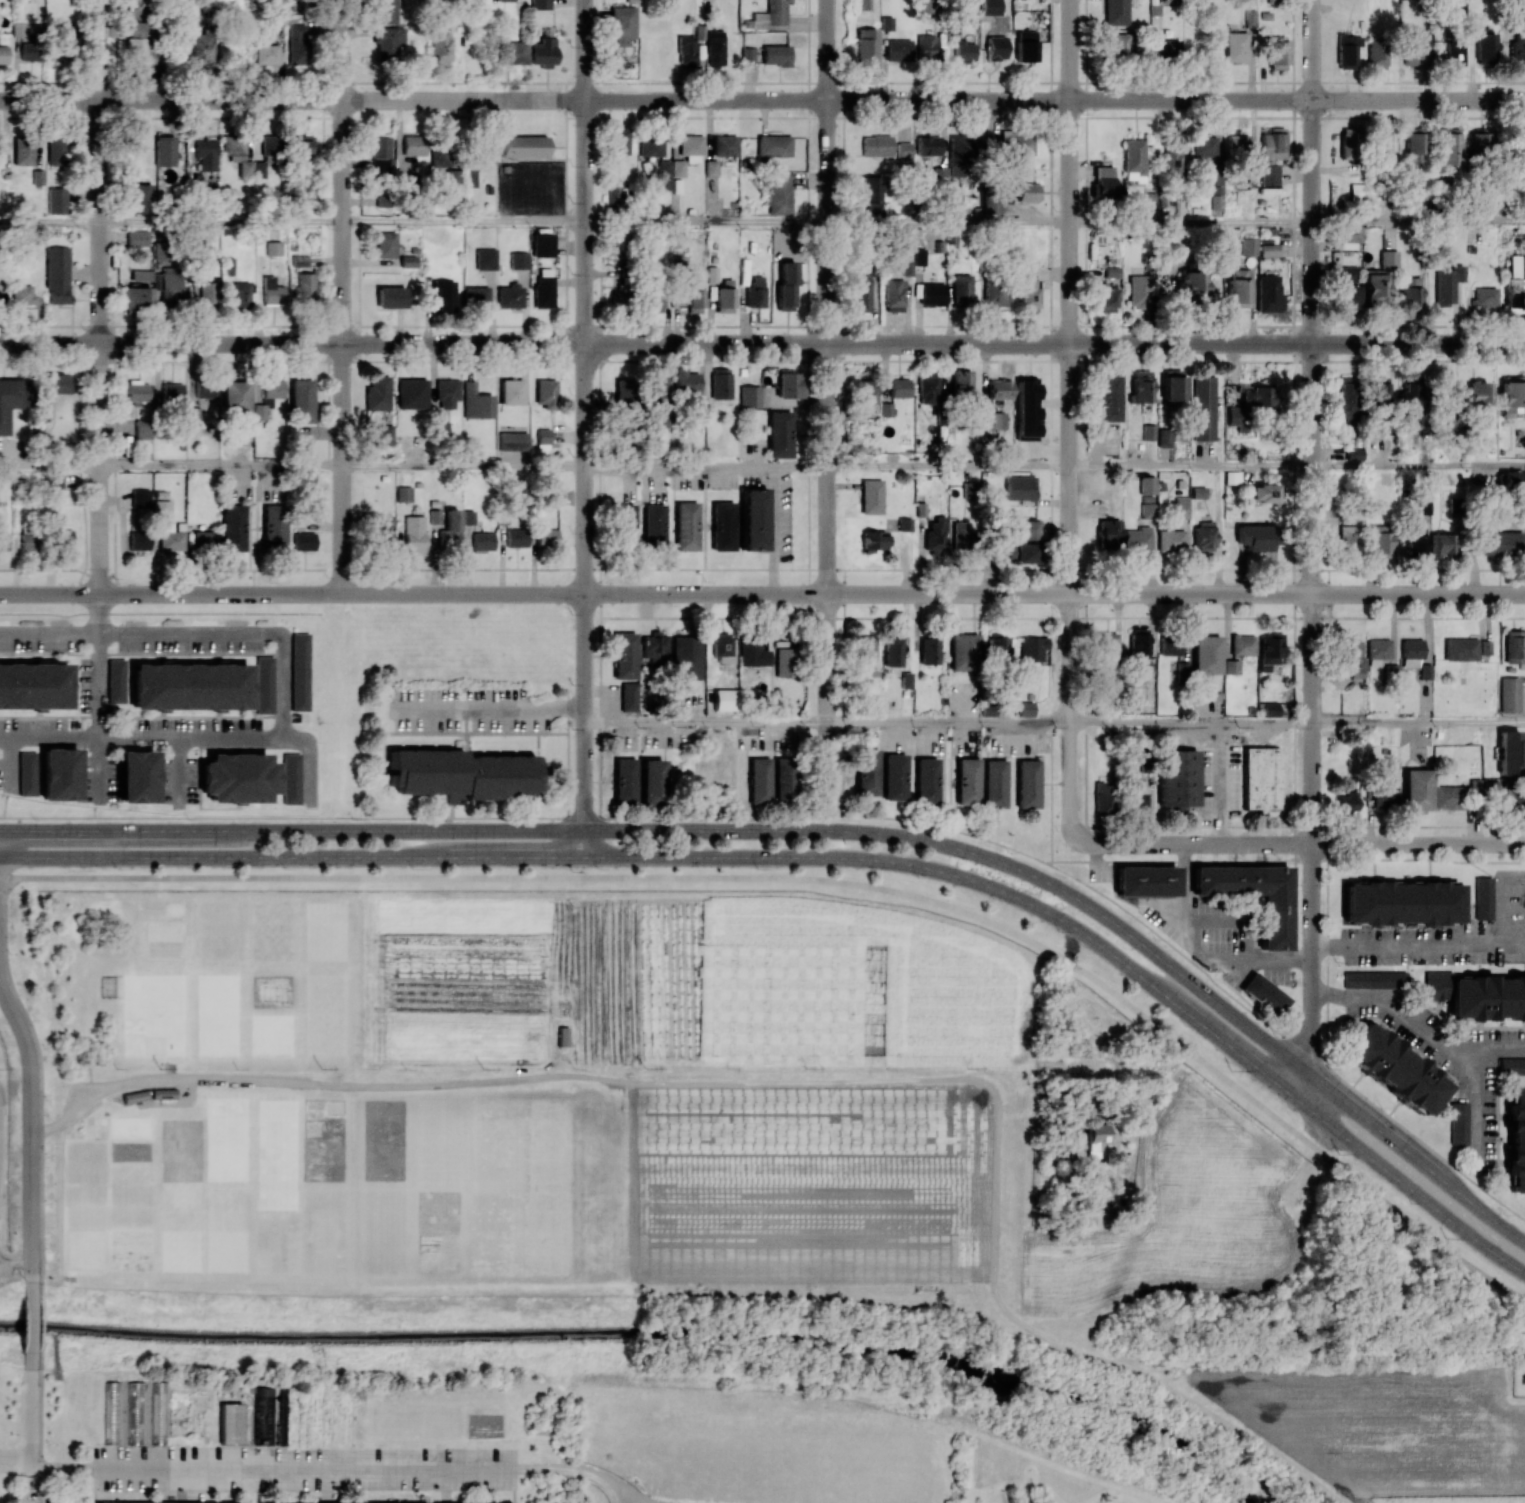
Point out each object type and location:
building: (505, 0)
building: (540, 4)
building: (926, 6)
building: (387, 11)
building: (1116, 12)
building: (768, 16)
building: (1250, 18)
building: (622, 24)
building: (59, 32)
building: (698, 32)
building: (388, 37)
building: (138, 44)
building: (297, 44)
building: (1025, 45)
building: (1117, 45)
building: (865, 46)
building: (1235, 46)
building: (440, 47)
building: (1485, 47)
building: (202, 48)
building: (714, 48)
building: (925, 48)
building: (1517, 48)
road: (98, 49)
road: (116, 49)
road: (323, 49)
road: (344, 49)
building: (995, 49)
building: (1165, 49)
building: (1347, 49)
building: (29, 50)
road: (587, 50)
building: (686, 50)
road: (826, 50)
building: (898, 50)
building: (964, 50)
building: (513, 51)
building: (61, 52)
building: (543, 52)
building: (1277, 52)
building: (1454, 52)
building: (266, 53)
building: (1376, 53)
building: (1417, 53)
building: (3, 54)
building: (747, 54)
building: (775, 54)
road: (762, 82)
road: (172, 99)
road: (828, 100)
road: (1419, 100)
road: (1045, 117)
building: (620, 140)
building: (1479, 140)
building: (1347, 143)
building: (413, 144)
building: (1009, 144)
building: (1237, 144)
building: (1380, 144)
building: (1414, 144)
building: (724, 145)
building: (773, 145)
building: (876, 145)
building: (928, 145)
building: (523, 146)
building: (650, 146)
building: (1203, 146)
building: (1449, 146)
building: (302, 147)
building: (691, 148)
building: (23, 150)
building: (56, 150)
building: (164, 150)
building: (903, 150)
building: (237, 153)
building: (485, 153)
building: (1517, 153)
building: (206, 154)
building: (381, 155)
building: (959, 155)
building: (1270, 155)
building: (440, 156)
building: (1133, 160)
building: (1171, 162)
building: (677, 168)
building: (939, 174)
building: (663, 175)
building: (37, 176)
building: (452, 177)
building: (470, 177)
building: (1104, 182)
building: (1214, 185)
building: (1027, 191)
building: (1356, 191)
building: (873, 193)
building: (614, 194)
building: (778, 194)
building: (140, 198)
building: (56, 200)
building: (955, 200)
building: (384, 201)
building: (992, 203)
road: (49, 222)
road: (220, 222)
road: (465, 222)
road: (586, 222)
road: (707, 222)
road: (1419, 222)
road: (948, 223)
road: (1191, 223)
building: (1349, 236)
building: (136, 238)
building: (385, 244)
building: (542, 244)
building: (1248, 246)
building: (273, 248)
building: (1268, 249)
building: (920, 256)
building: (485, 259)
building: (1388, 259)
building: (299, 260)
building: (518, 260)
building: (408, 261)
building: (907, 266)
building: (1347, 273)
building: (57, 274)
building: (140, 274)
building: (1191, 283)
building: (1515, 283)
building: (1446, 284)
building: (785, 285)
building: (169, 288)
building: (304, 288)
building: (1238, 288)
building: (1373, 288)
building: (961, 289)
building: (1028, 290)
building: (272, 291)
building: (543, 291)
building: (1139, 291)
building: (207, 292)
building: (623, 292)
building: (755, 292)
building: (1410, 292)
building: (694, 293)
building: (929, 293)
building: (996, 293)
building: (23, 294)
building: (860, 294)
building: (1268, 294)
building: (241, 295)
building: (894, 295)
building: (443, 296)
building: (476, 296)
building: (509, 296)
building: (1346, 296)
building: (1485, 296)
building: (390, 297)
building: (1106, 298)
building: (136, 299)
building: (724, 299)
building: (654, 304)
road: (171, 341)
road: (464, 342)
road: (949, 343)
road: (1419, 343)
road: (98, 345)
road: (341, 345)
building: (685, 380)
building: (961, 382)
building: (58, 383)
building: (720, 383)
building: (789, 384)
building: (1139, 386)
building: (898, 387)
building: (205, 389)
building: (927, 389)
building: (1000, 389)
building: (1170, 389)
building: (138, 390)
building: (512, 391)
building: (623, 391)
building: (865, 391)
building: (171, 392)
building: (545, 392)
building: (1477, 392)
building: (377, 393)
building: (411, 393)
building: (448, 393)
building: (1255, 395)
building: (234, 396)
building: (749, 396)
building: (268, 398)
building: (655, 398)
building: (1108, 398)
building: (1346, 398)
building: (10, 399)
building: (1410, 399)
building: (1449, 399)
building: (300, 400)
building: (476, 401)
building: (1202, 408)
building: (1027, 409)
building: (42, 412)
building: (1237, 417)
road: (1069, 419)
building: (993, 420)
building: (143, 429)
building: (439, 429)
building: (1147, 431)
building: (779, 434)
building: (383, 435)
building: (1163, 437)
building: (542, 438)
building: (512, 441)
building: (305, 445)
road: (827, 453)
building: (1354, 453)
road: (1419, 464)
road: (463, 466)
road: (706, 466)
road: (948, 466)
road: (1191, 466)
road: (49, 468)
road: (219, 468)
building: (1231, 477)
building: (1512, 480)
building: (1146, 484)
building: (1020, 487)
building: (1197, 492)
building: (1264, 493)
building: (403, 494)
building: (870, 496)
building: (140, 497)
building: (1181, 507)
building: (161, 508)
building: (1147, 509)
building: (433, 516)
building: (468, 517)
building: (753, 518)
building: (625, 524)
building: (653, 524)
building: (904, 524)
building: (686, 525)
building: (722, 525)
building: (232, 527)
building: (273, 527)
building: (449, 529)
building: (1028, 529)
building: (380, 530)
building: (1108, 533)
building: (960, 534)
building: (414, 535)
building: (935, 535)
building: (1203, 536)
building: (1257, 536)
building: (27, 537)
building: (64, 537)
building: (515, 537)
building: (546, 537)
building: (1348, 538)
building: (1138, 539)
building: (138, 540)
building: (170, 540)
building: (204, 540)
building: (873, 540)
building: (1170, 540)
building: (3, 541)
building: (303, 541)
building: (482, 541)
building: (1416, 542)
building: (1444, 543)
building: (1500, 543)
building: (1381, 544)
road: (1313, 549)
building: (1020, 552)
road: (840, 568)
road: (585, 586)
road: (292, 591)
road: (948, 593)
road: (1419, 593)
road: (159, 612)
road: (1061, 617)
road: (49, 633)
road: (190, 633)
building: (1138, 643)
building: (1170, 644)
building: (1242, 644)
building: (1106, 645)
building: (1513, 646)
building: (722, 647)
building: (866, 647)
building: (998, 647)
building: (655, 648)
building: (1032, 648)
building: (1378, 648)
building: (1460, 649)
building: (1269, 650)
building: (1351, 650)
building: (753, 651)
building: (892, 651)
building: (929, 651)
building: (962, 651)
building: (1411, 652)
building: (623, 655)
building: (1205, 655)
building: (687, 657)
building: (785, 662)
building: (1231, 666)
building: (870, 669)
building: (1358, 669)
building: (299, 671)
building: (1425, 671)
building: (116, 680)
building: (906, 680)
building: (264, 684)
road: (283, 685)
building: (34, 686)
building: (189, 686)
building: (628, 691)
building: (1512, 695)
road: (98, 696)
building: (724, 699)
building: (988, 708)
building: (1025, 708)
road: (491, 709)
building: (1266, 709)
road: (948, 722)
road: (1191, 722)
road: (1419, 722)
road: (705, 723)
road: (190, 737)
road: (5, 738)
road: (54, 738)
building: (1509, 752)
road: (312, 755)
road: (10, 763)
road: (179, 771)
building: (867, 772)
building: (27, 773)
building: (59, 773)
building: (461, 774)
building: (136, 776)
building: (237, 777)
building: (893, 777)
building: (290, 778)
building: (783, 778)
building: (1177, 778)
building: (1260, 778)
building: (623, 780)
building: (759, 780)
building: (926, 780)
building: (651, 781)
building: (967, 781)
building: (994, 783)
building: (1027, 783)
building: (1415, 789)
building: (1493, 789)
road: (1051, 793)
building: (1102, 794)
building: (1453, 795)
building: (1383, 796)
building: (1137, 797)
building: (1347, 800)
building: (1514, 801)
road: (280, 816)
road: (1199, 825)
road: (291, 829)
road: (836, 829)
road: (582, 842)
road: (989, 843)
road: (1300, 844)
road: (291, 856)
road: (831, 856)
road: (1288, 864)
road: (827, 880)
building: (1146, 880)
building: (1483, 898)
building: (1397, 905)
building: (1274, 921)
road: (1419, 946)
road: (1200, 952)
building: (1374, 979)
crop: (574, 980)
building: (1264, 993)
building: (1487, 1000)
road: (1400, 1010)
road: (1068, 1032)
road: (1500, 1048)
crop: (1, 1055)
road: (1303, 1066)
building: (1511, 1066)
building: (1396, 1067)
road: (482, 1079)
road: (1343, 1081)
road: (1296, 1099)
road: (1476, 1108)
building: (1458, 1123)
road: (30, 1132)
building: (1515, 1135)
building: (1097, 1139)
crop: (4, 1174)
crop: (526, 1186)
crop: (1187, 1210)
road: (30, 1324)
river: (648, 1328)
building: (110, 1412)
building: (134, 1412)
building: (157, 1412)
building: (230, 1423)
crop: (1388, 1428)
road: (30, 1435)
road: (253, 1468)
building: (222, 1502)
building: (460, 1502)

